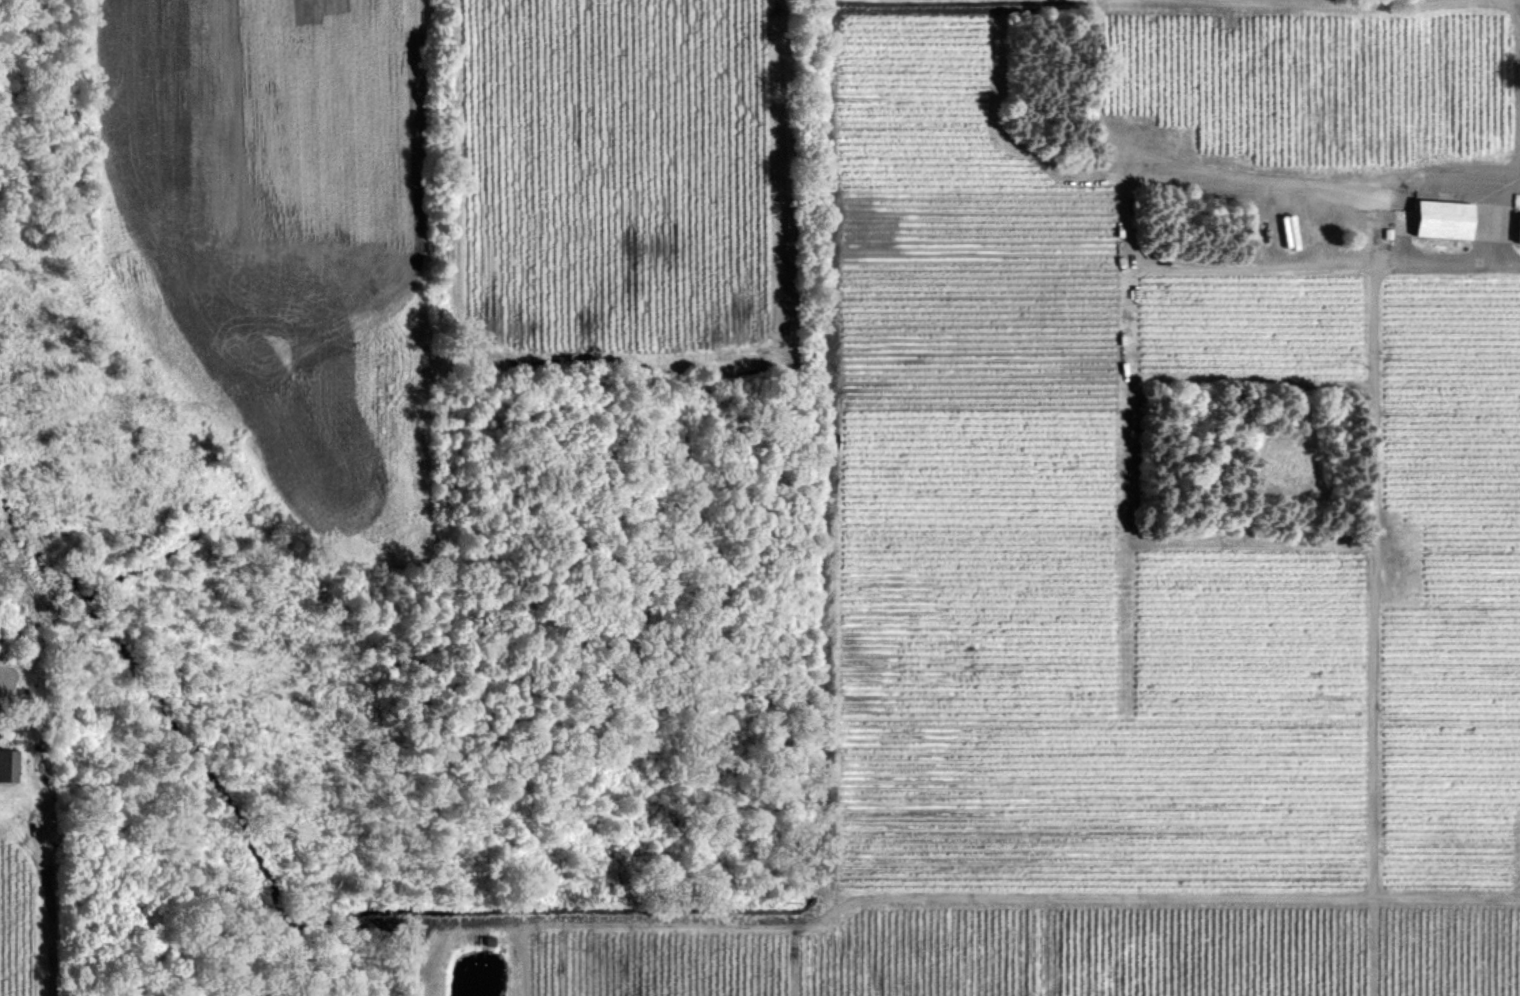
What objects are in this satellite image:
building: (1444, 218)
building: (1518, 229)
road: (1386, 230)
building: (8, 765)
road: (56, 913)

